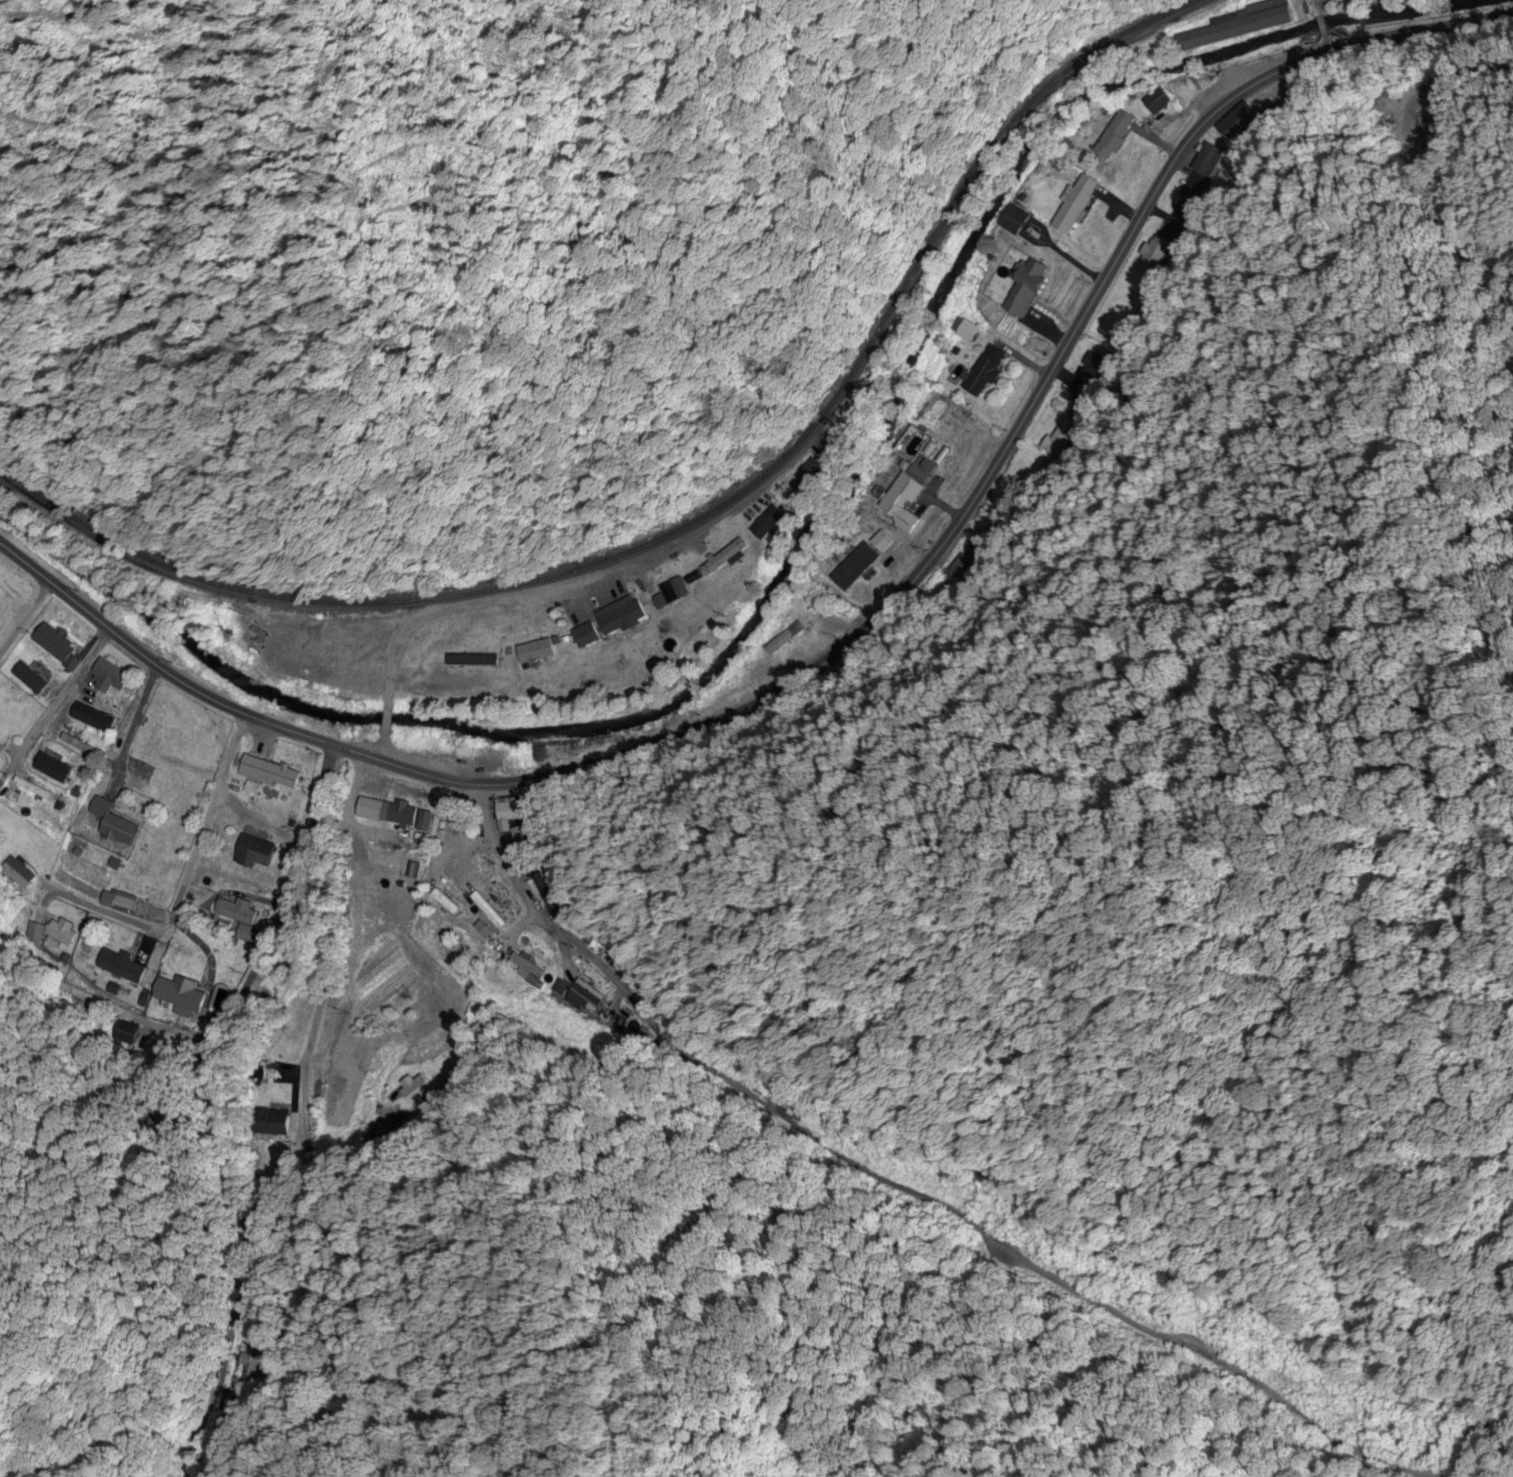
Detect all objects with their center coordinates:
road: (1315, 7)
building: (1237, 25)
road: (1320, 25)
road: (1323, 42)
building: (1156, 100)
building: (1378, 111)
building: (1113, 135)
building: (1206, 163)
building: (1073, 206)
building: (1013, 220)
building: (1153, 256)
building: (1023, 287)
building: (965, 332)
building: (982, 371)
building: (809, 473)
building: (899, 502)
railway: (695, 521)
building: (766, 523)
building: (725, 557)
building: (853, 567)
road: (559, 605)
road: (21, 620)
building: (615, 620)
road: (853, 626)
building: (792, 638)
building: (56, 647)
building: (435, 663)
building: (110, 675)
building: (29, 679)
road: (51, 709)
road: (384, 715)
building: (90, 718)
road: (136, 720)
building: (148, 744)
building: (81, 747)
road: (382, 749)
building: (51, 768)
building: (267, 773)
building: (508, 811)
building: (400, 814)
building: (423, 821)
building: (111, 824)
road: (209, 826)
building: (252, 853)
road: (502, 855)
building: (17, 873)
building: (444, 892)
building: (121, 902)
road: (103, 910)
building: (239, 917)
building: (51, 931)
building: (119, 965)
building: (525, 966)
road: (325, 983)
building: (178, 993)
building: (415, 1089)
road: (227, 1112)
building: (271, 1122)
road: (956, 1210)

